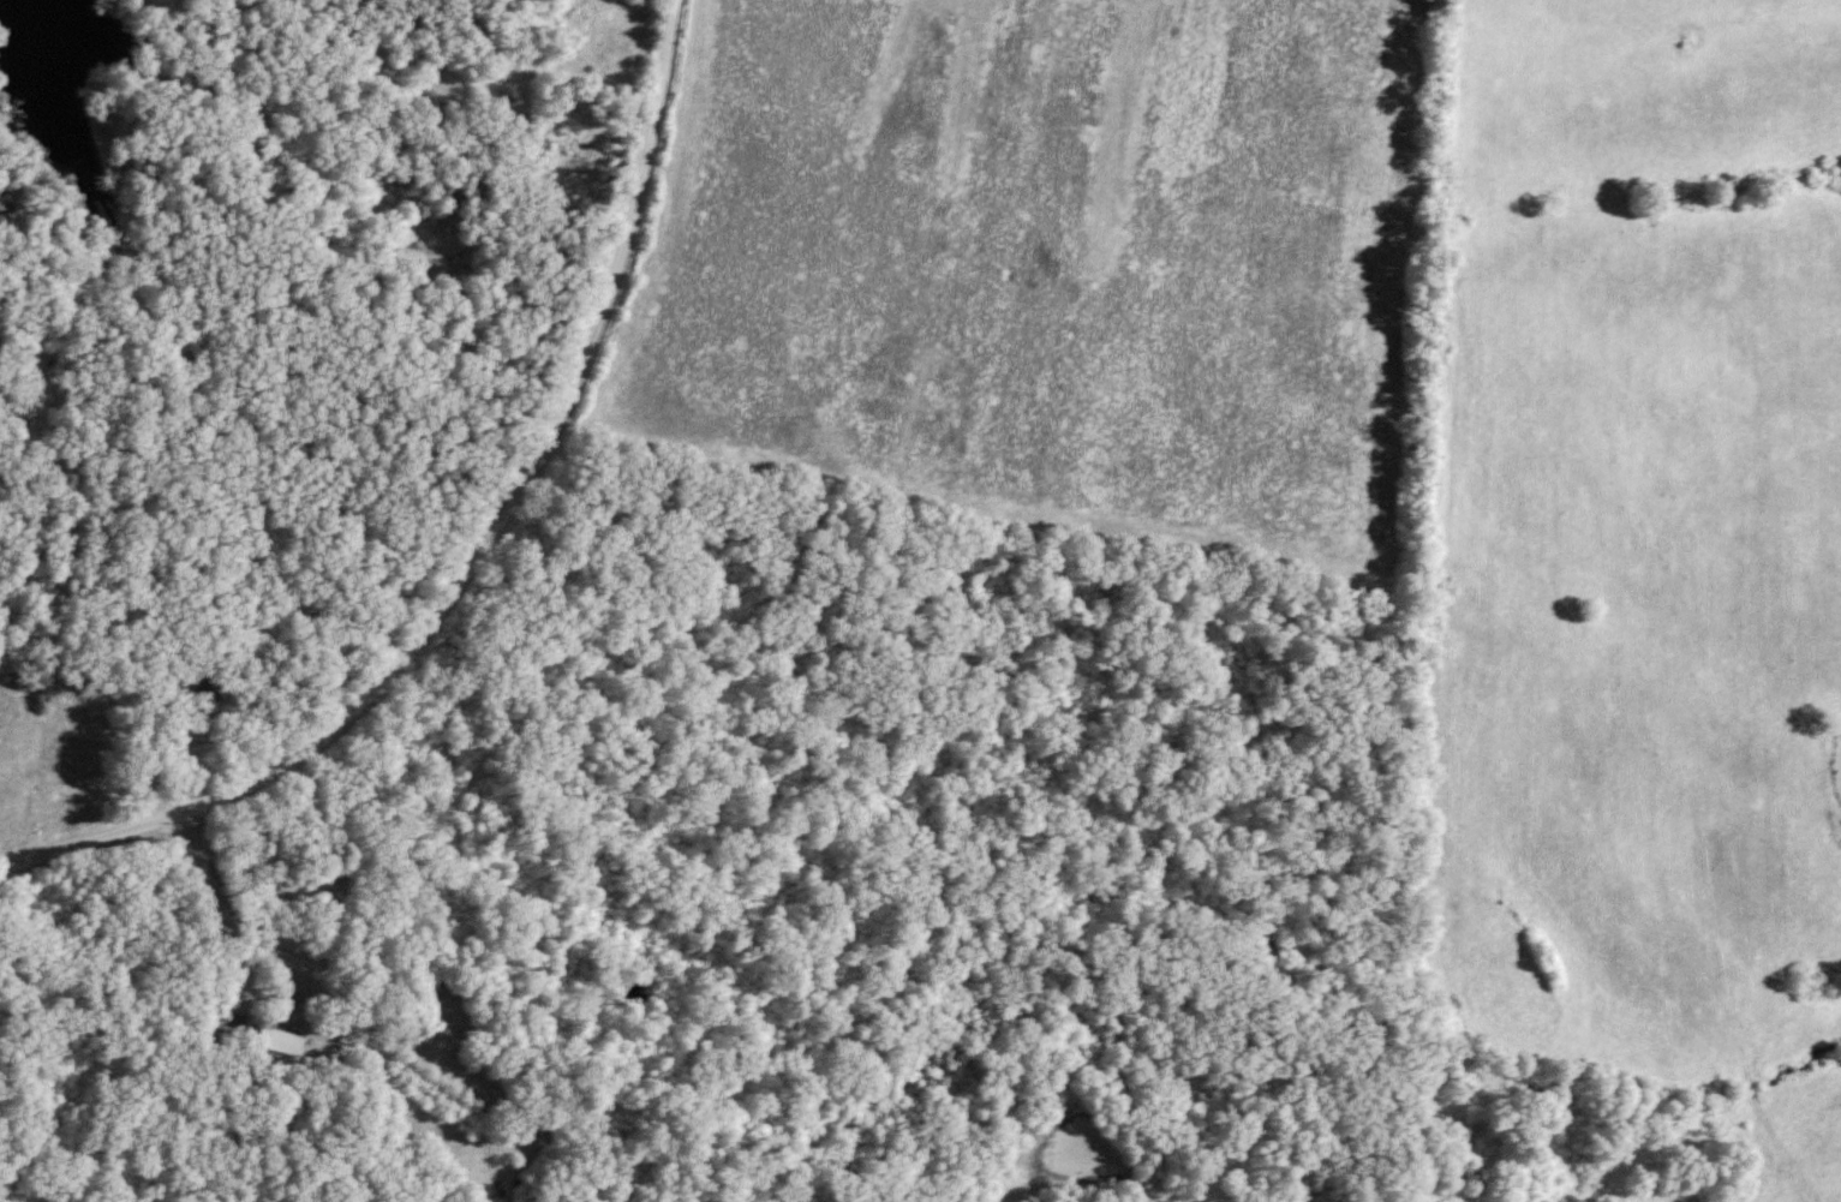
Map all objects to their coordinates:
building: (550, 16)
building: (578, 157)
road: (482, 556)
road: (220, 925)
building: (277, 1041)

